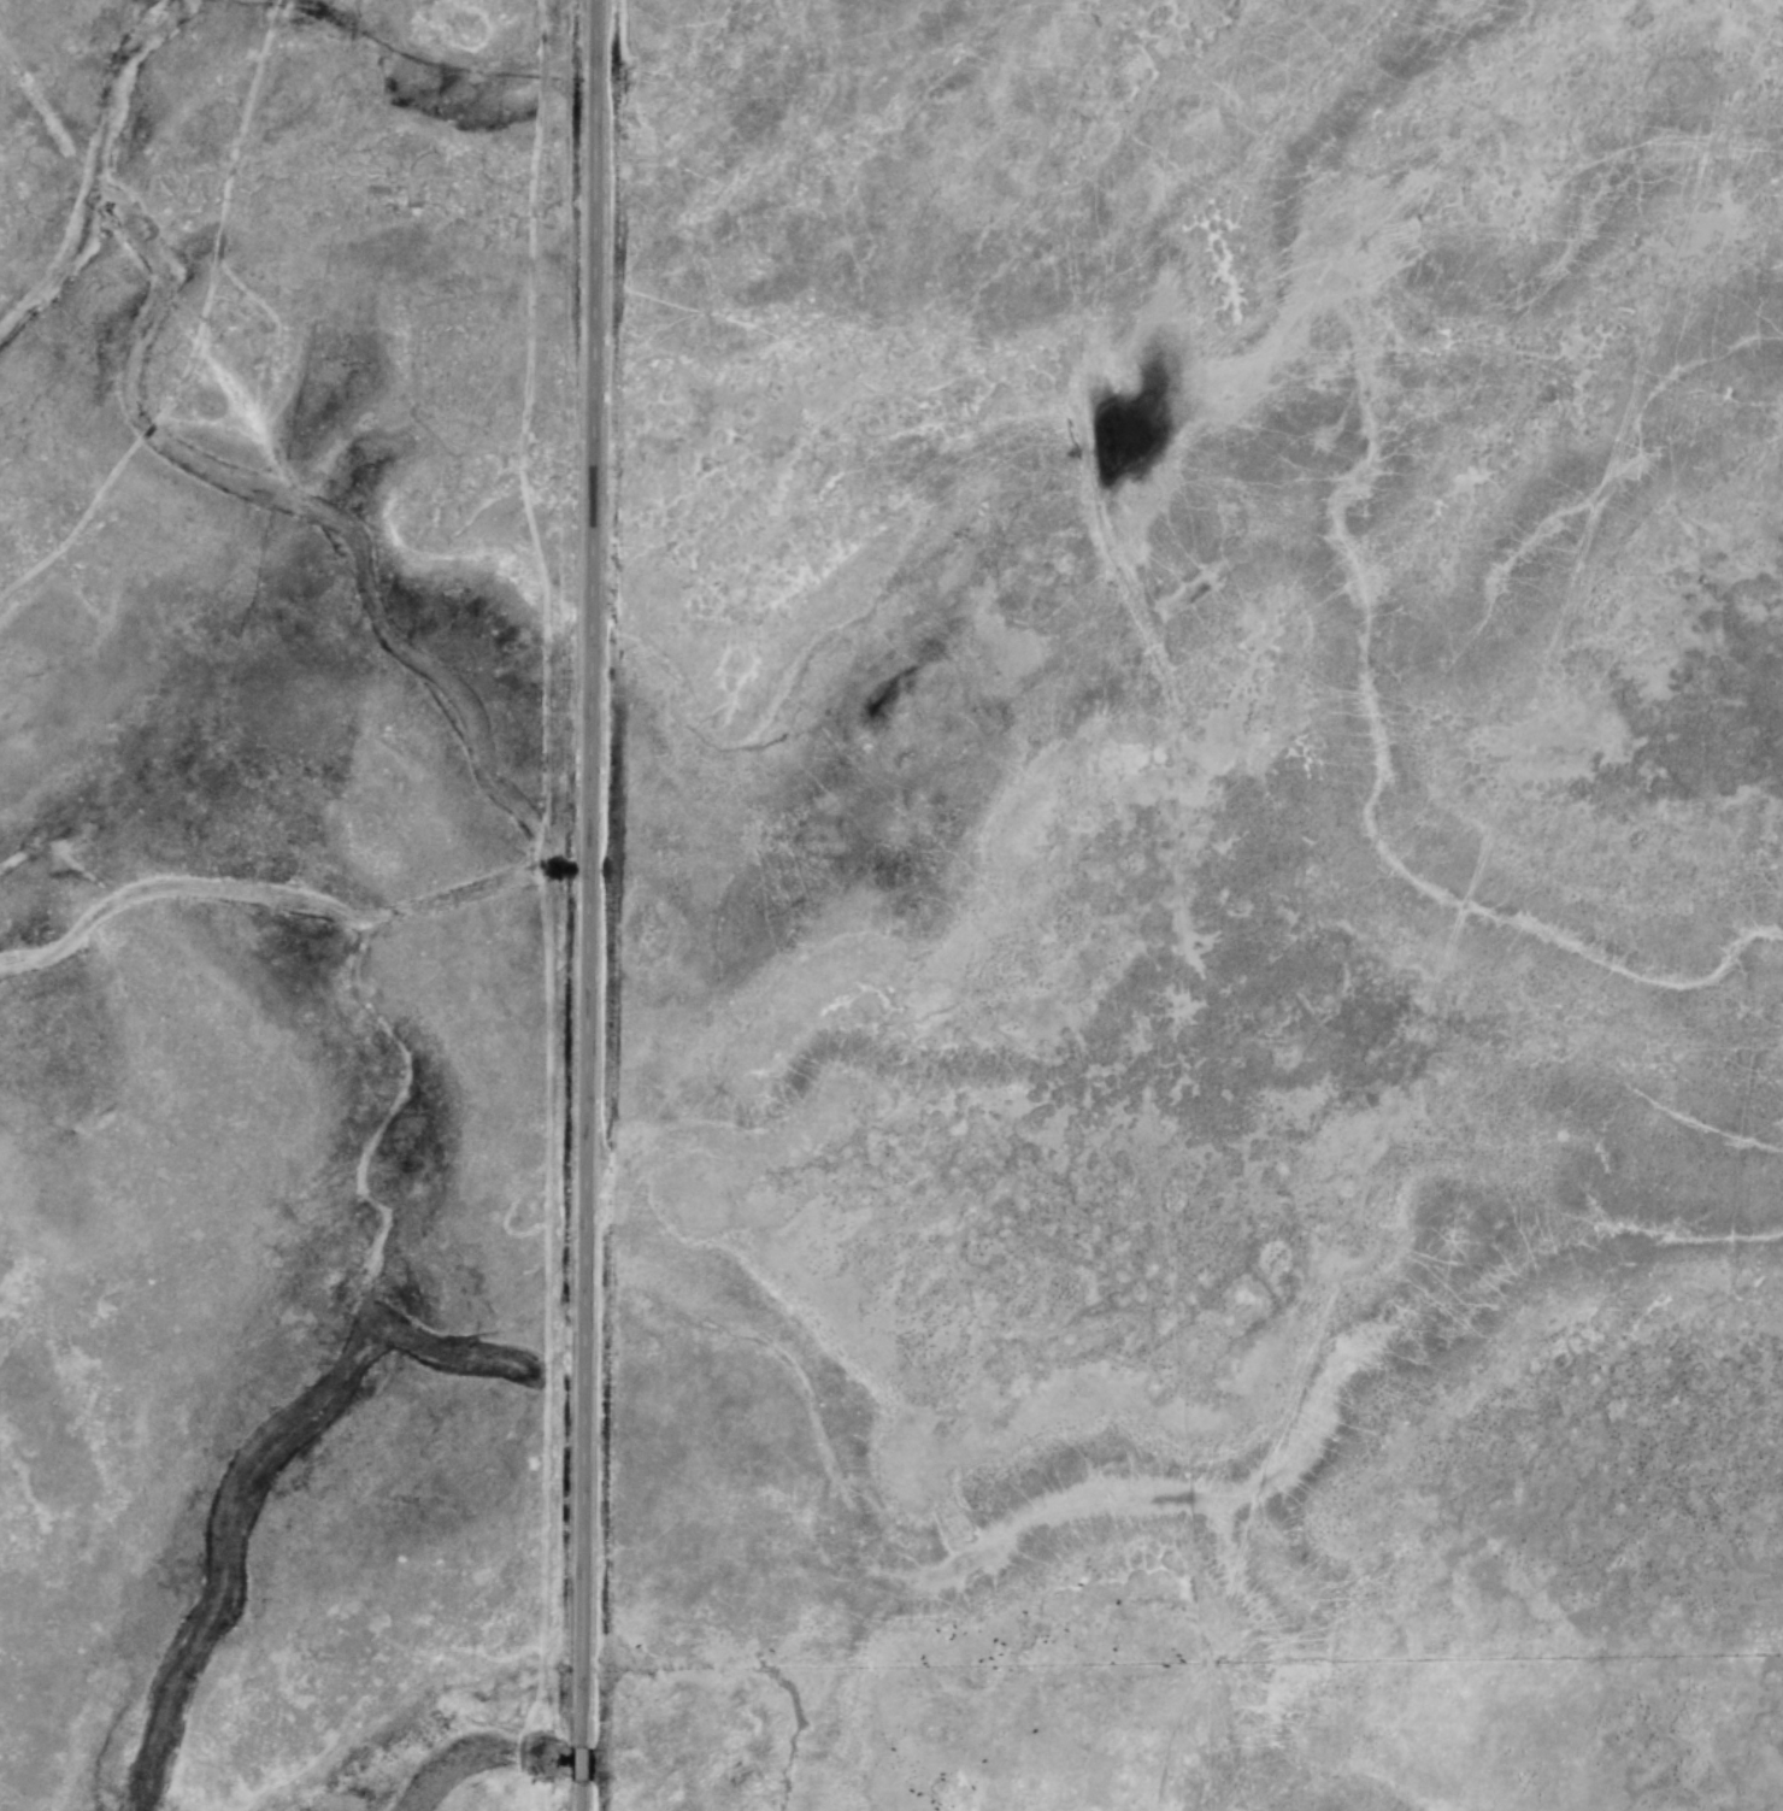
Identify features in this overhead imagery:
road: (583, 905)
crop: (891, 905)

